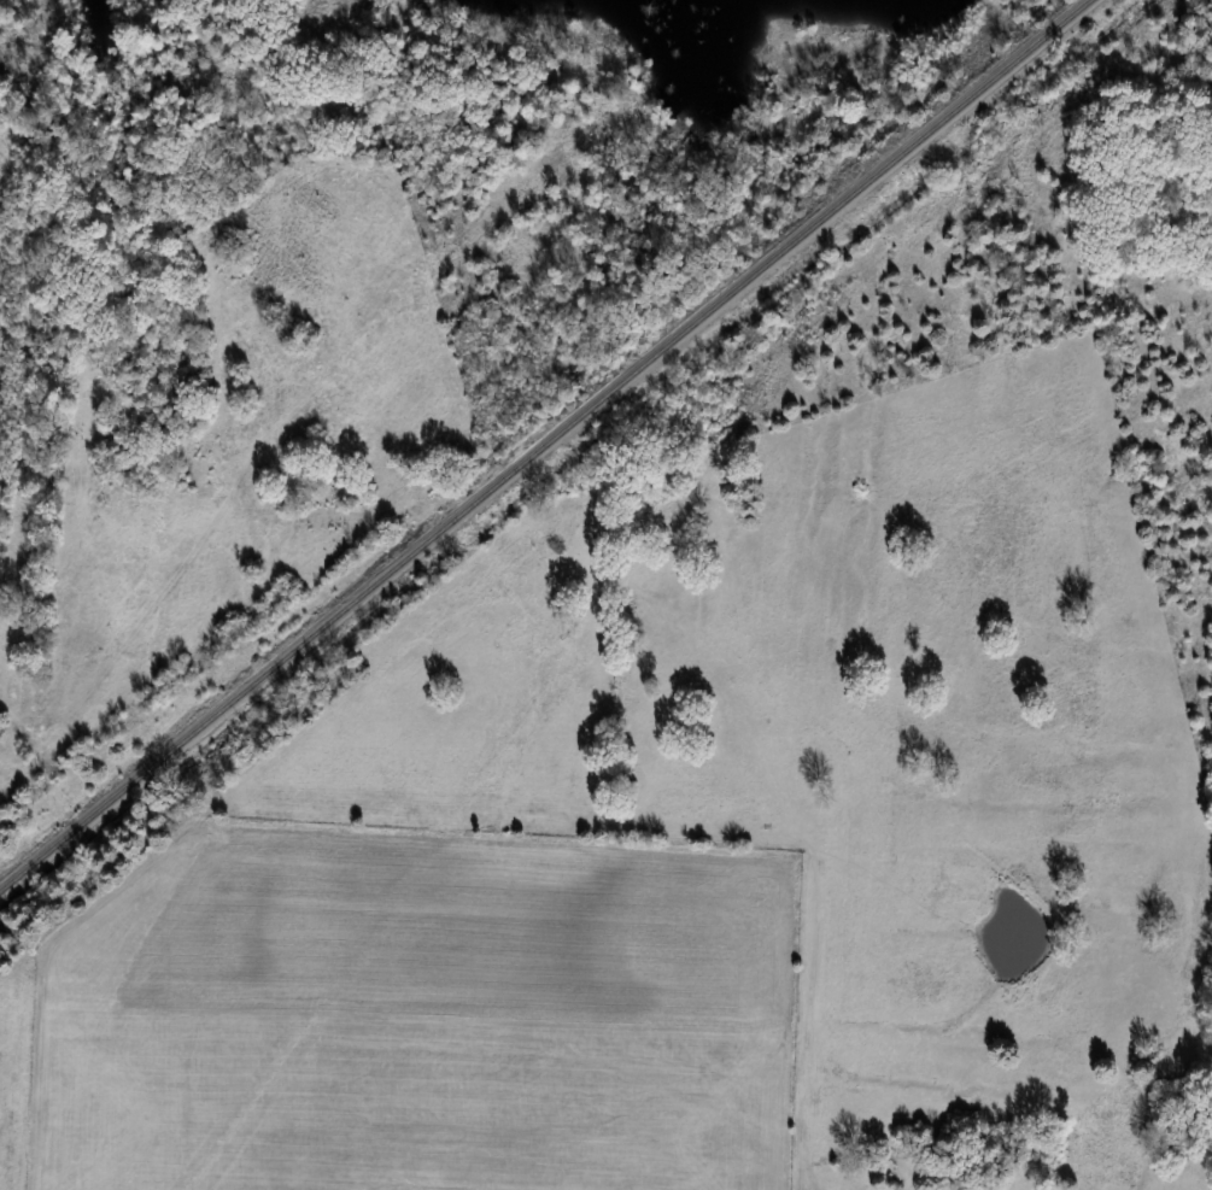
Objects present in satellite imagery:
park: (1141, 183)
railway: (544, 445)

